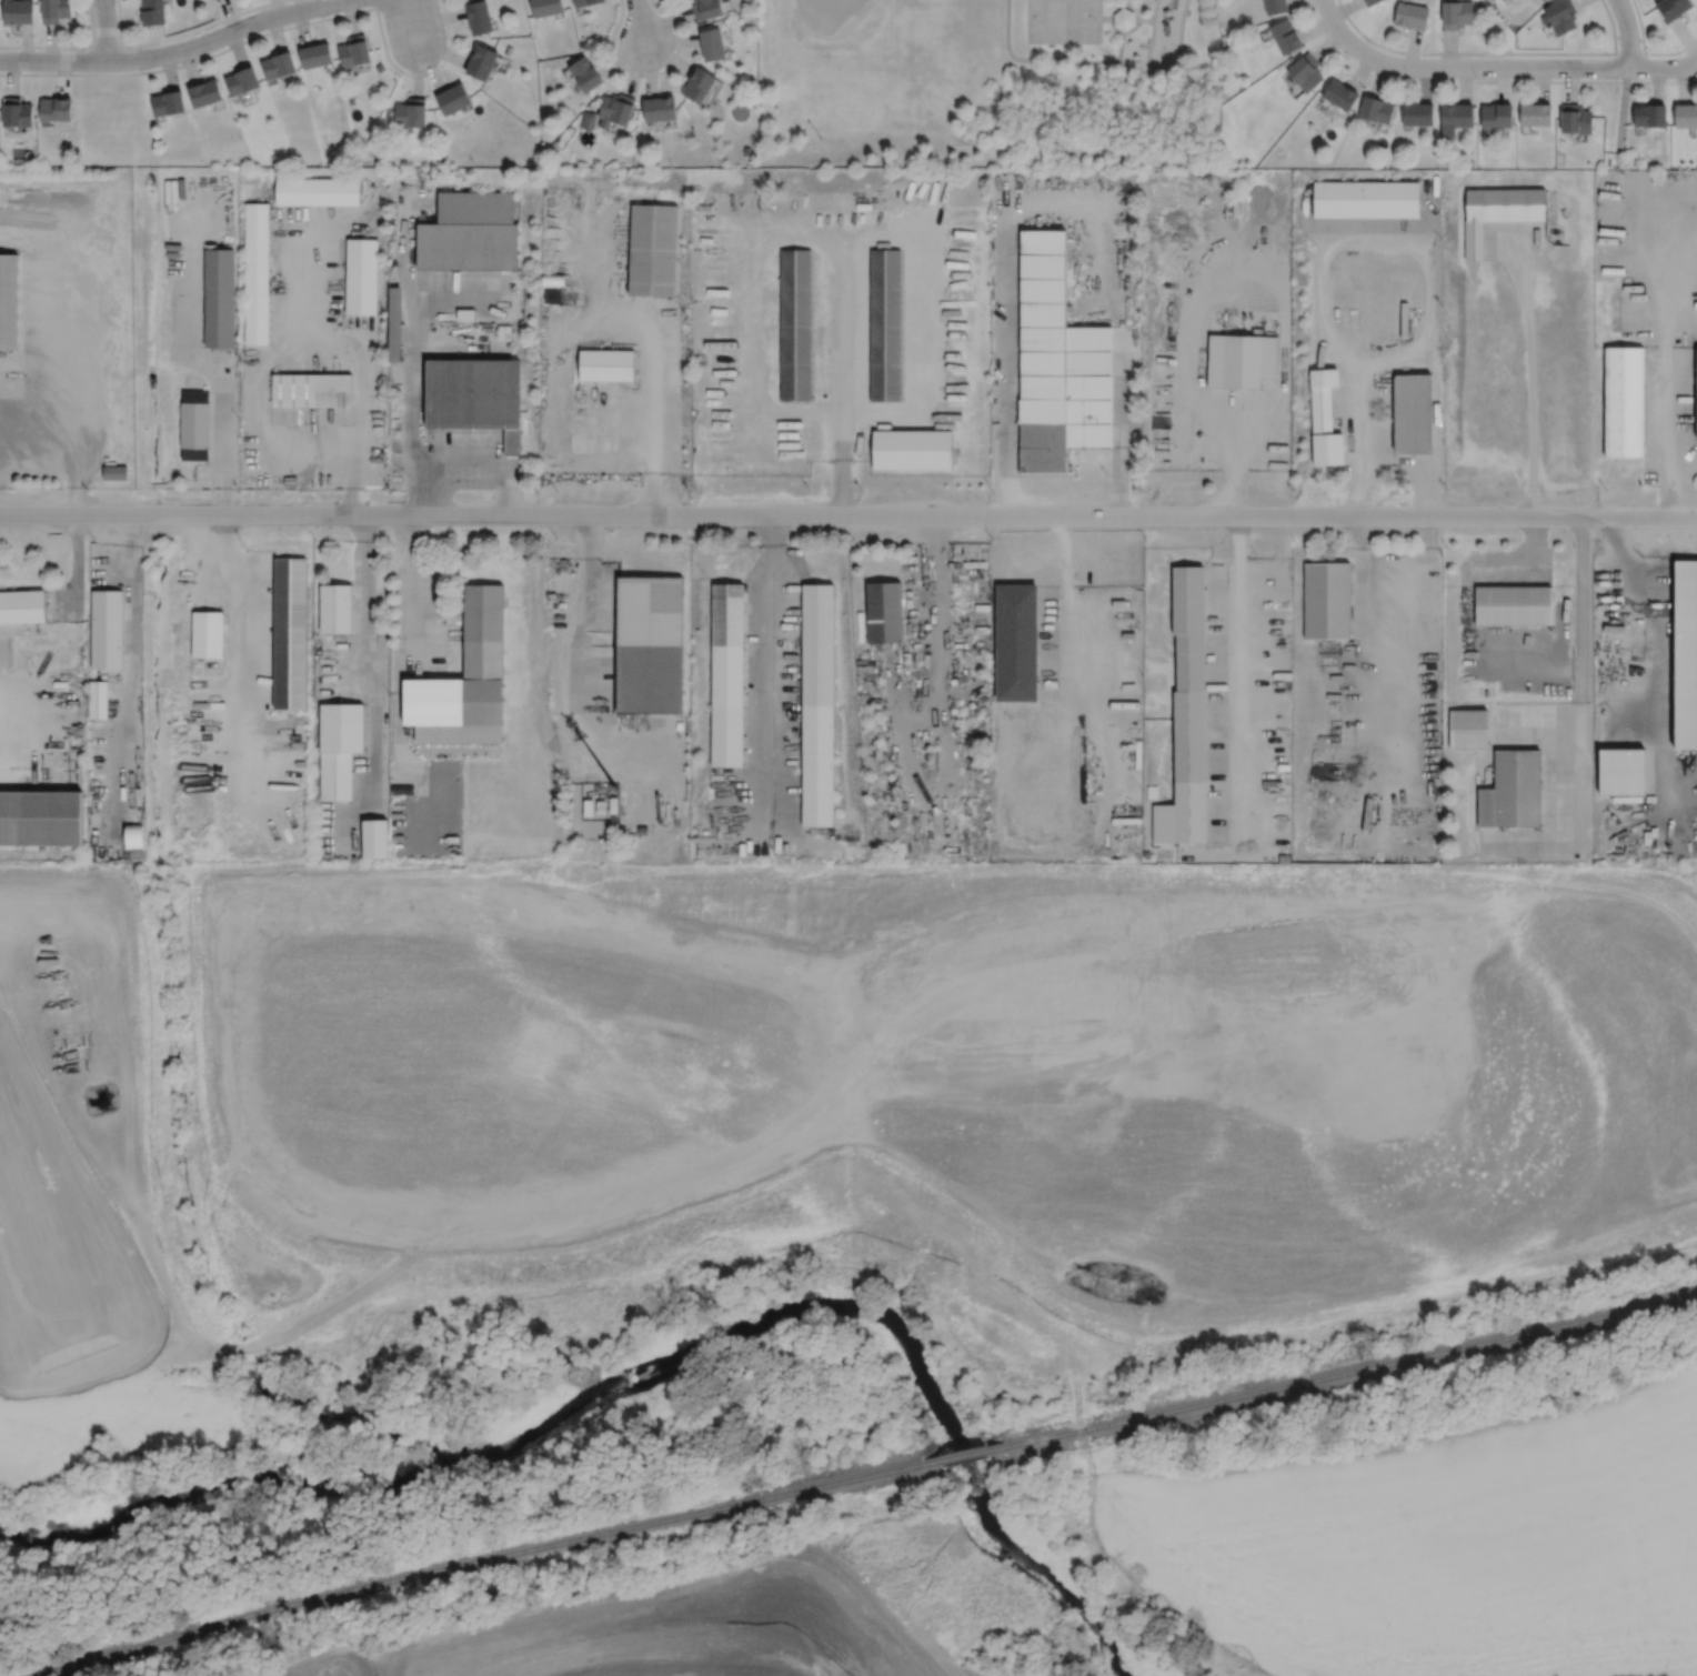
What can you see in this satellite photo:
building: (585, 2)
road: (1125, 2)
building: (1370, 2)
building: (1274, 6)
building: (545, 7)
building: (705, 8)
building: (1671, 8)
building: (53, 10)
building: (18, 11)
building: (152, 12)
building: (1455, 13)
building: (478, 16)
building: (1410, 16)
building: (1560, 16)
road: (1105, 17)
building: (1123, 17)
road: (1154, 18)
park: (1063, 20)
road: (410, 22)
road: (642, 22)
road: (1135, 23)
road: (104, 29)
road: (1626, 32)
building: (1284, 36)
building: (1229, 38)
building: (584, 43)
building: (712, 43)
road: (1353, 44)
road: (1119, 46)
building: (353, 50)
building: (506, 50)
park: (866, 50)
road: (1062, 50)
road: (177, 51)
road: (1008, 52)
building: (314, 54)
building: (480, 61)
building: (278, 64)
road: (1515, 66)
building: (379, 67)
road: (1663, 67)
building: (1305, 70)
road: (1149, 72)
building: (584, 73)
building: (241, 80)
park: (988, 82)
building: (696, 83)
building: (203, 92)
building: (1338, 93)
building: (452, 98)
building: (168, 102)
building: (54, 108)
building: (657, 108)
building: (615, 109)
building: (1375, 109)
building: (16, 111)
building: (410, 112)
building: (1417, 113)
building: (1535, 113)
building: (1456, 114)
building: (1496, 114)
building: (1686, 114)
building: (1649, 116)
building: (1575, 118)
building: (588, 119)
building: (177, 172)
building: (315, 191)
building: (1365, 198)
building: (1497, 211)
road: (192, 232)
building: (469, 232)
road: (1399, 238)
road: (1007, 243)
road: (1167, 243)
building: (652, 249)
building: (255, 273)
road: (308, 274)
building: (360, 275)
road: (451, 291)
building: (218, 297)
building: (8, 301)
road: (28, 318)
road: (78, 319)
road: (643, 321)
building: (394, 323)
building: (884, 324)
building: (794, 325)
road: (335, 341)
road: (1661, 347)
road: (412, 352)
road: (913, 355)
road: (314, 358)
building: (1239, 360)
road: (217, 363)
building: (1053, 364)
road: (1530, 375)
building: (599, 381)
building: (311, 390)
building: (1696, 393)
building: (474, 395)
building: (1623, 402)
building: (1413, 412)
road: (563, 414)
building: (1323, 419)
building: (193, 425)
road: (38, 432)
road: (1279, 435)
road: (1358, 436)
building: (911, 450)
road: (305, 452)
road: (1119, 453)
road: (451, 458)
road: (1418, 466)
building: (113, 471)
road: (1231, 475)
building: (310, 479)
building: (289, 481)
road: (1664, 490)
road: (848, 514)
road: (77, 568)
road: (1380, 578)
building: (1326, 601)
building: (1513, 605)
building: (22, 606)
building: (334, 609)
building: (884, 613)
road: (1468, 614)
road: (229, 619)
building: (107, 629)
building: (207, 635)
building: (1015, 641)
building: (647, 643)
building: (1685, 653)
road: (131, 655)
road: (770, 673)
building: (726, 675)
building: (464, 680)
road: (1583, 681)
road: (1239, 684)
road: (374, 694)
building: (97, 700)
road: (1102, 704)
building: (816, 705)
building: (1186, 714)
road: (586, 716)
road: (30, 717)
road: (940, 720)
building: (1467, 729)
road: (395, 736)
building: (339, 747)
building: (1620, 770)
road: (395, 772)
building: (1512, 790)
building: (1151, 791)
building: (41, 817)
road: (1395, 823)
building: (641, 829)
building: (133, 836)
building: (373, 839)
road: (1576, 845)
road: (1216, 853)
railway: (1352, 1369)
railway: (962, 1455)
crop: (1442, 1545)
railway: (478, 1559)

